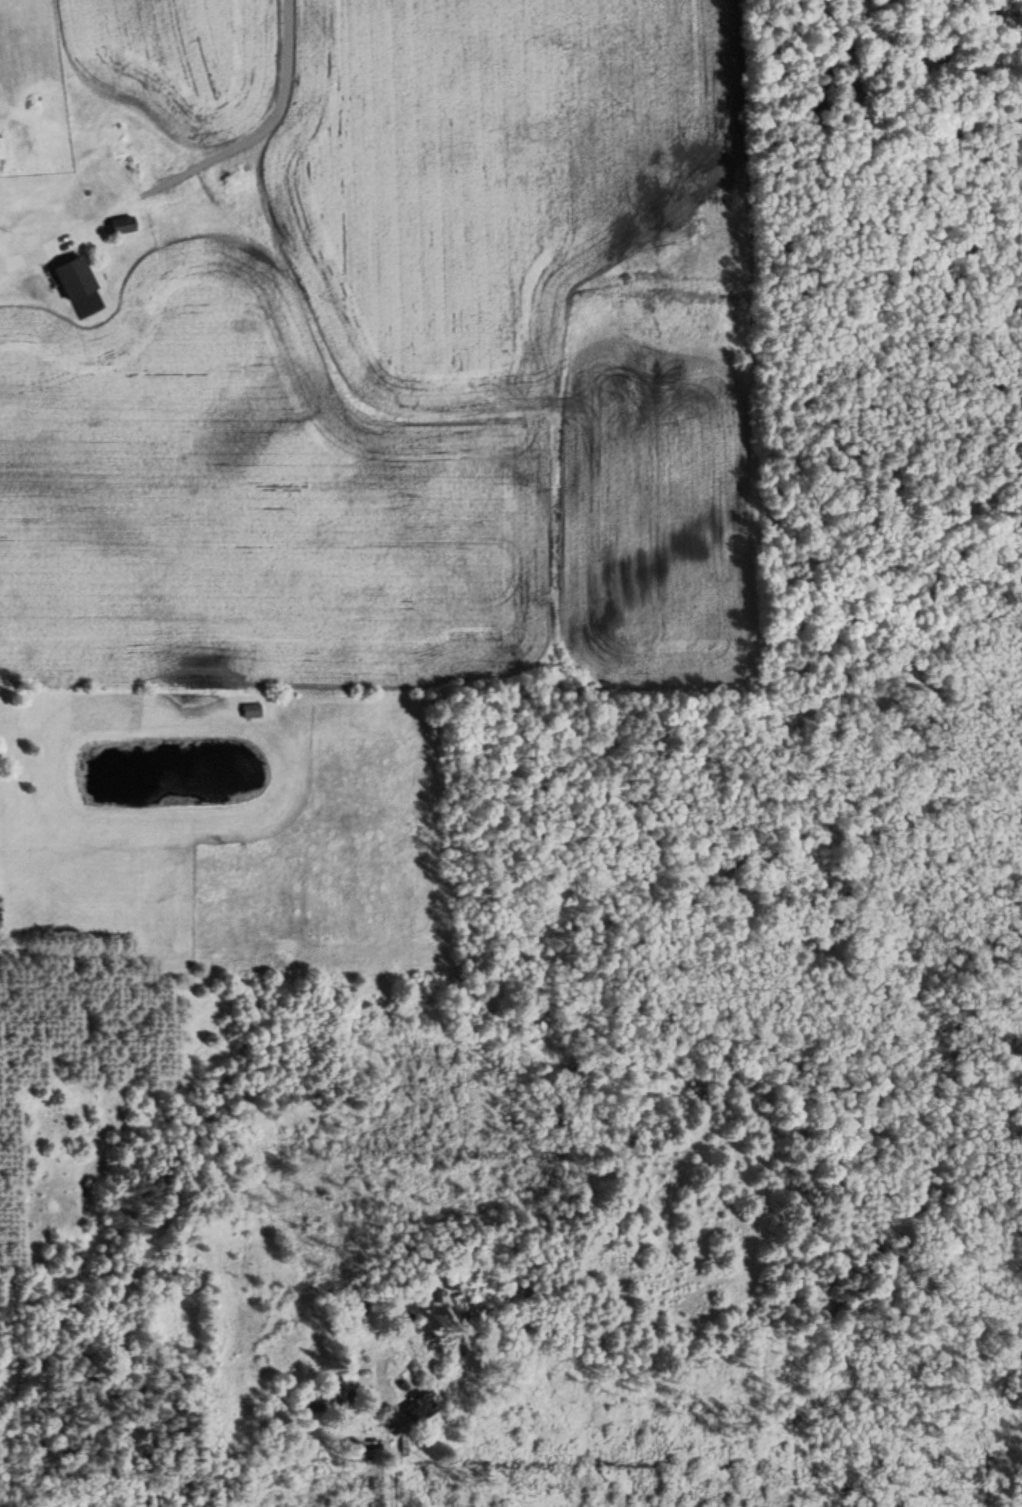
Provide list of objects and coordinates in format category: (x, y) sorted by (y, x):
building: (7, 186)
building: (120, 225)
building: (73, 277)
building: (250, 711)

